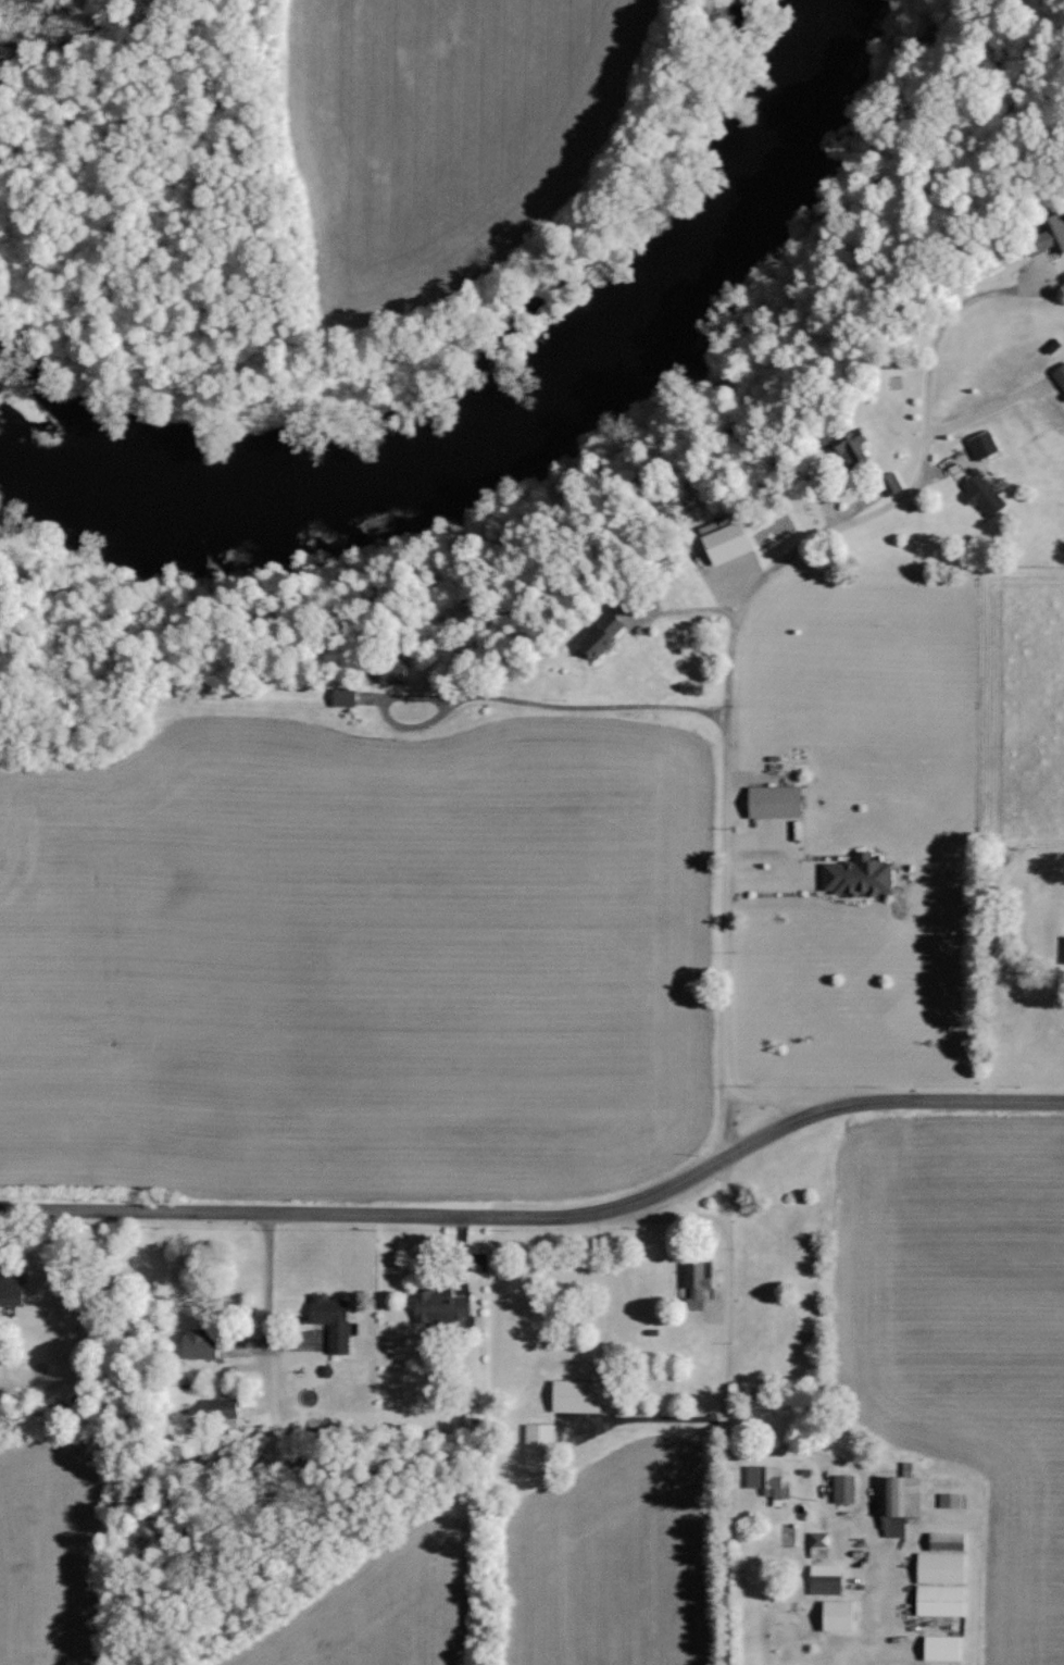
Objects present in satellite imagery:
building: (1048, 235)
building: (1059, 375)
river: (501, 430)
building: (980, 443)
building: (847, 444)
building: (888, 482)
building: (980, 492)
building: (723, 543)
road: (696, 622)
building: (598, 634)
road: (754, 635)
building: (389, 672)
building: (341, 696)
road: (592, 717)
building: (772, 800)
building: (855, 875)
building: (1063, 948)
road: (888, 1098)
road: (791, 1099)
road: (675, 1182)
road: (725, 1190)
road: (676, 1212)
road: (312, 1217)
road: (267, 1281)
building: (694, 1284)
building: (9, 1288)
building: (438, 1307)
building: (329, 1321)
road: (725, 1324)
building: (193, 1344)
building: (573, 1395)
building: (220, 1408)
building: (536, 1442)
road: (776, 1450)
building: (763, 1478)
building: (841, 1487)
building: (949, 1499)
building: (897, 1501)
building: (817, 1538)
building: (946, 1540)
building: (939, 1566)
building: (938, 1599)
building: (834, 1614)
building: (940, 1647)

